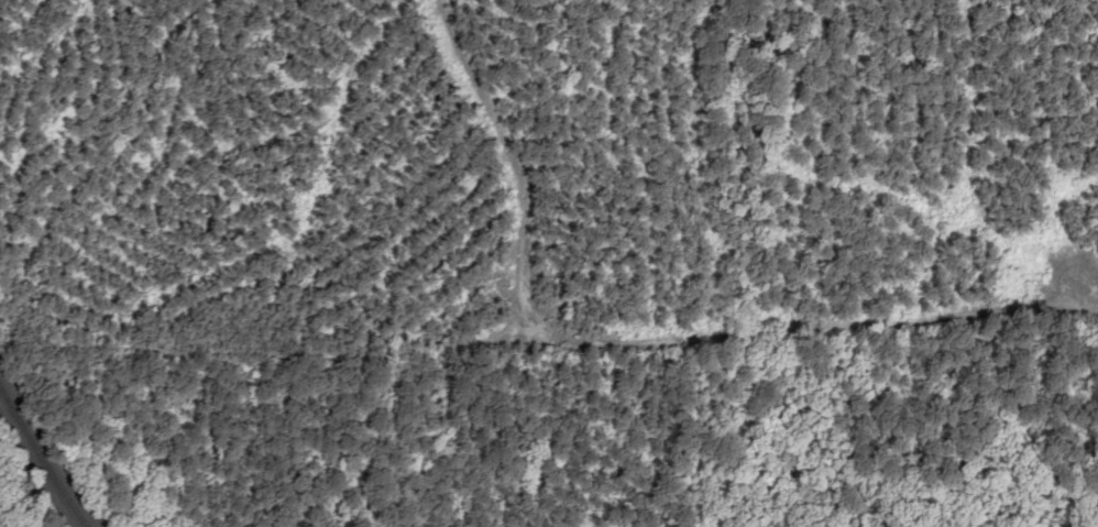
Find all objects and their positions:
railway: (43, 455)

